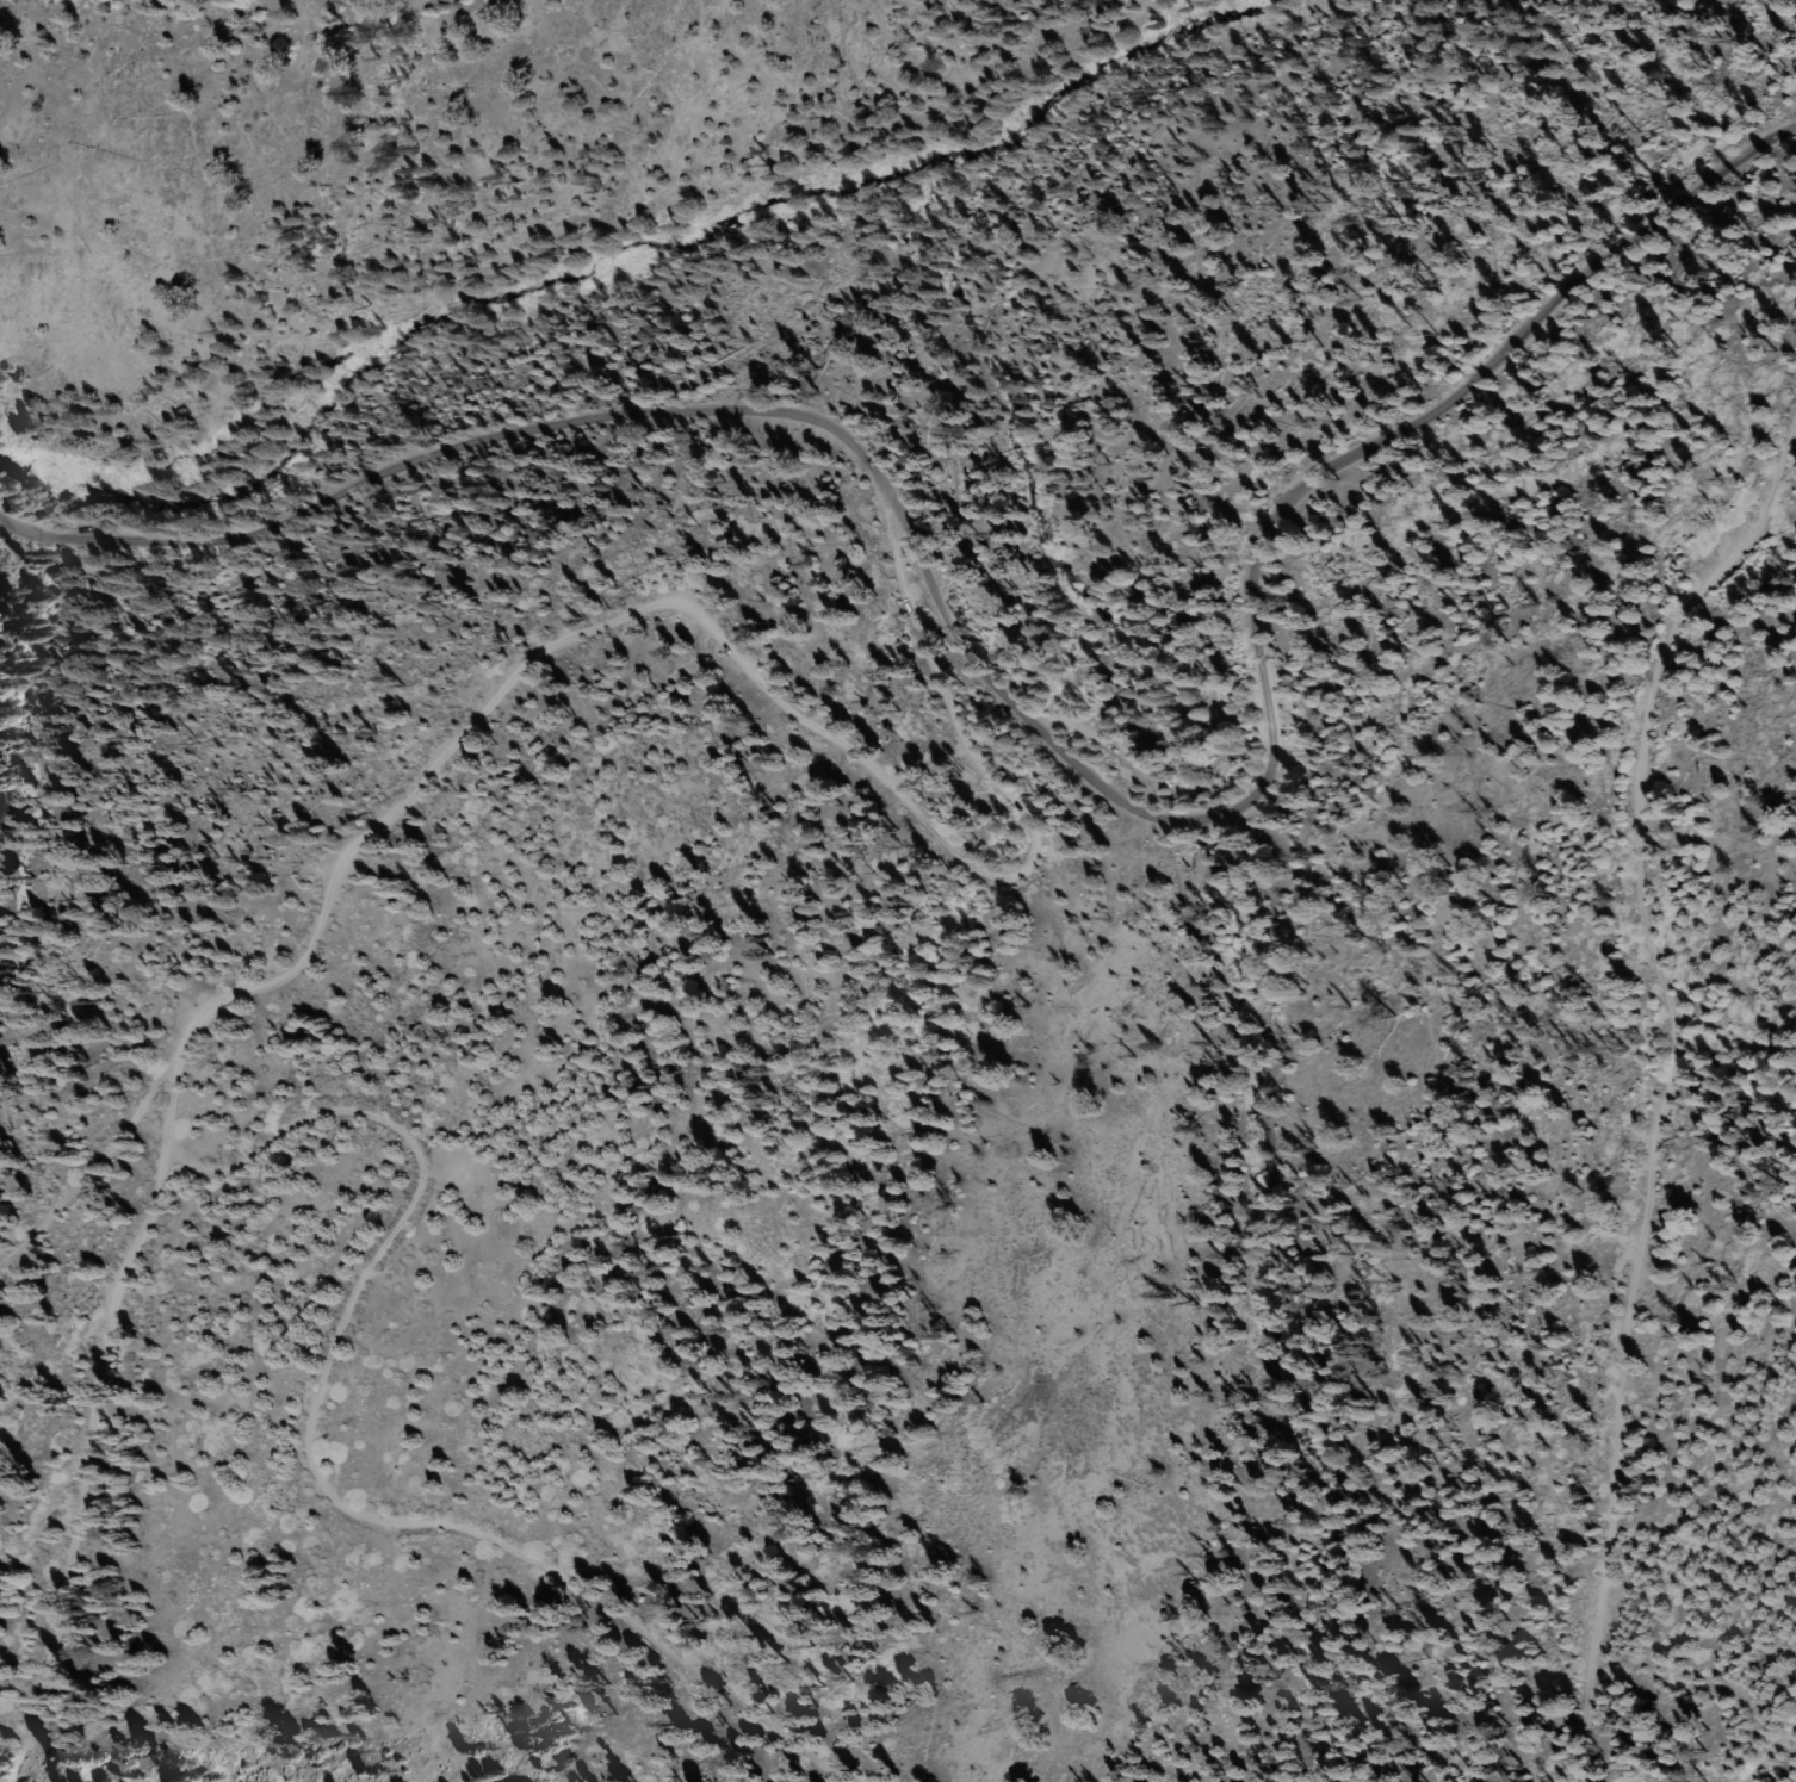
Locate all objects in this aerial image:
road: (1026, 716)
road: (453, 743)
road: (1654, 1093)
road: (93, 1157)
road: (311, 1465)
road: (1777, 1755)

